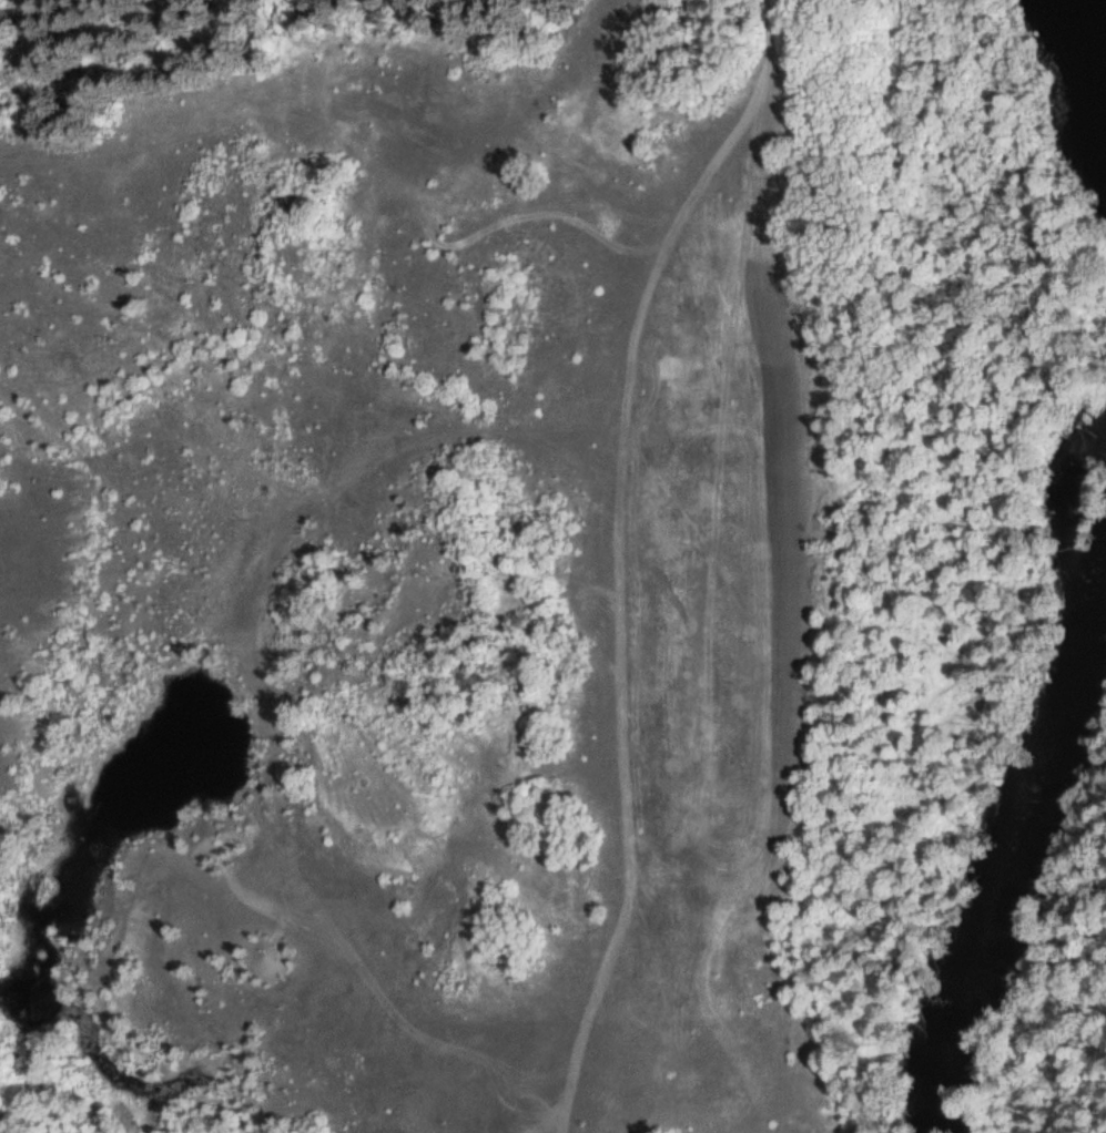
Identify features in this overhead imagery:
river: (1014, 823)

